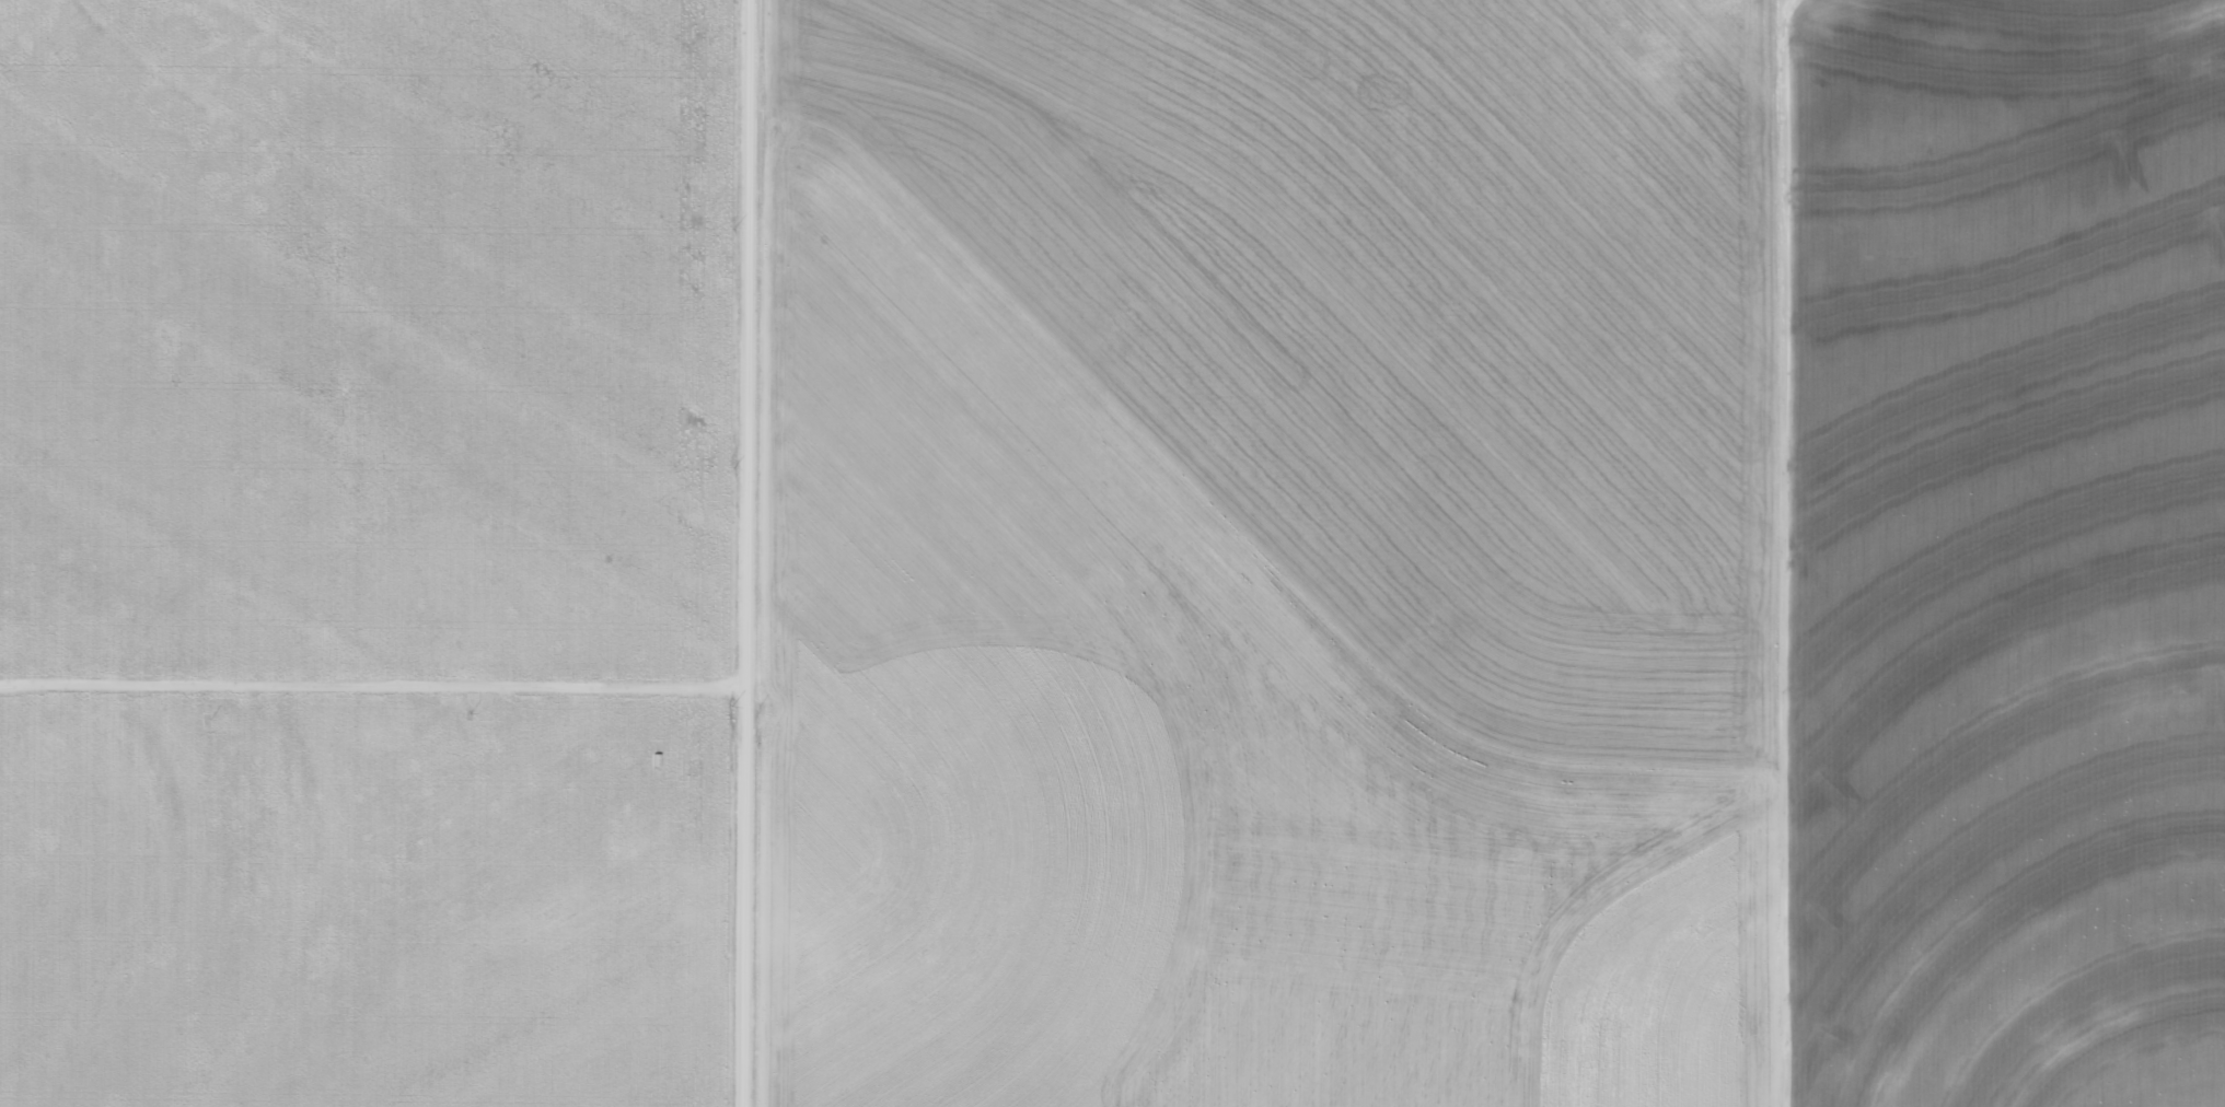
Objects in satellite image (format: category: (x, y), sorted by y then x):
road: (752, 553)
road: (1824, 553)
road: (374, 701)

